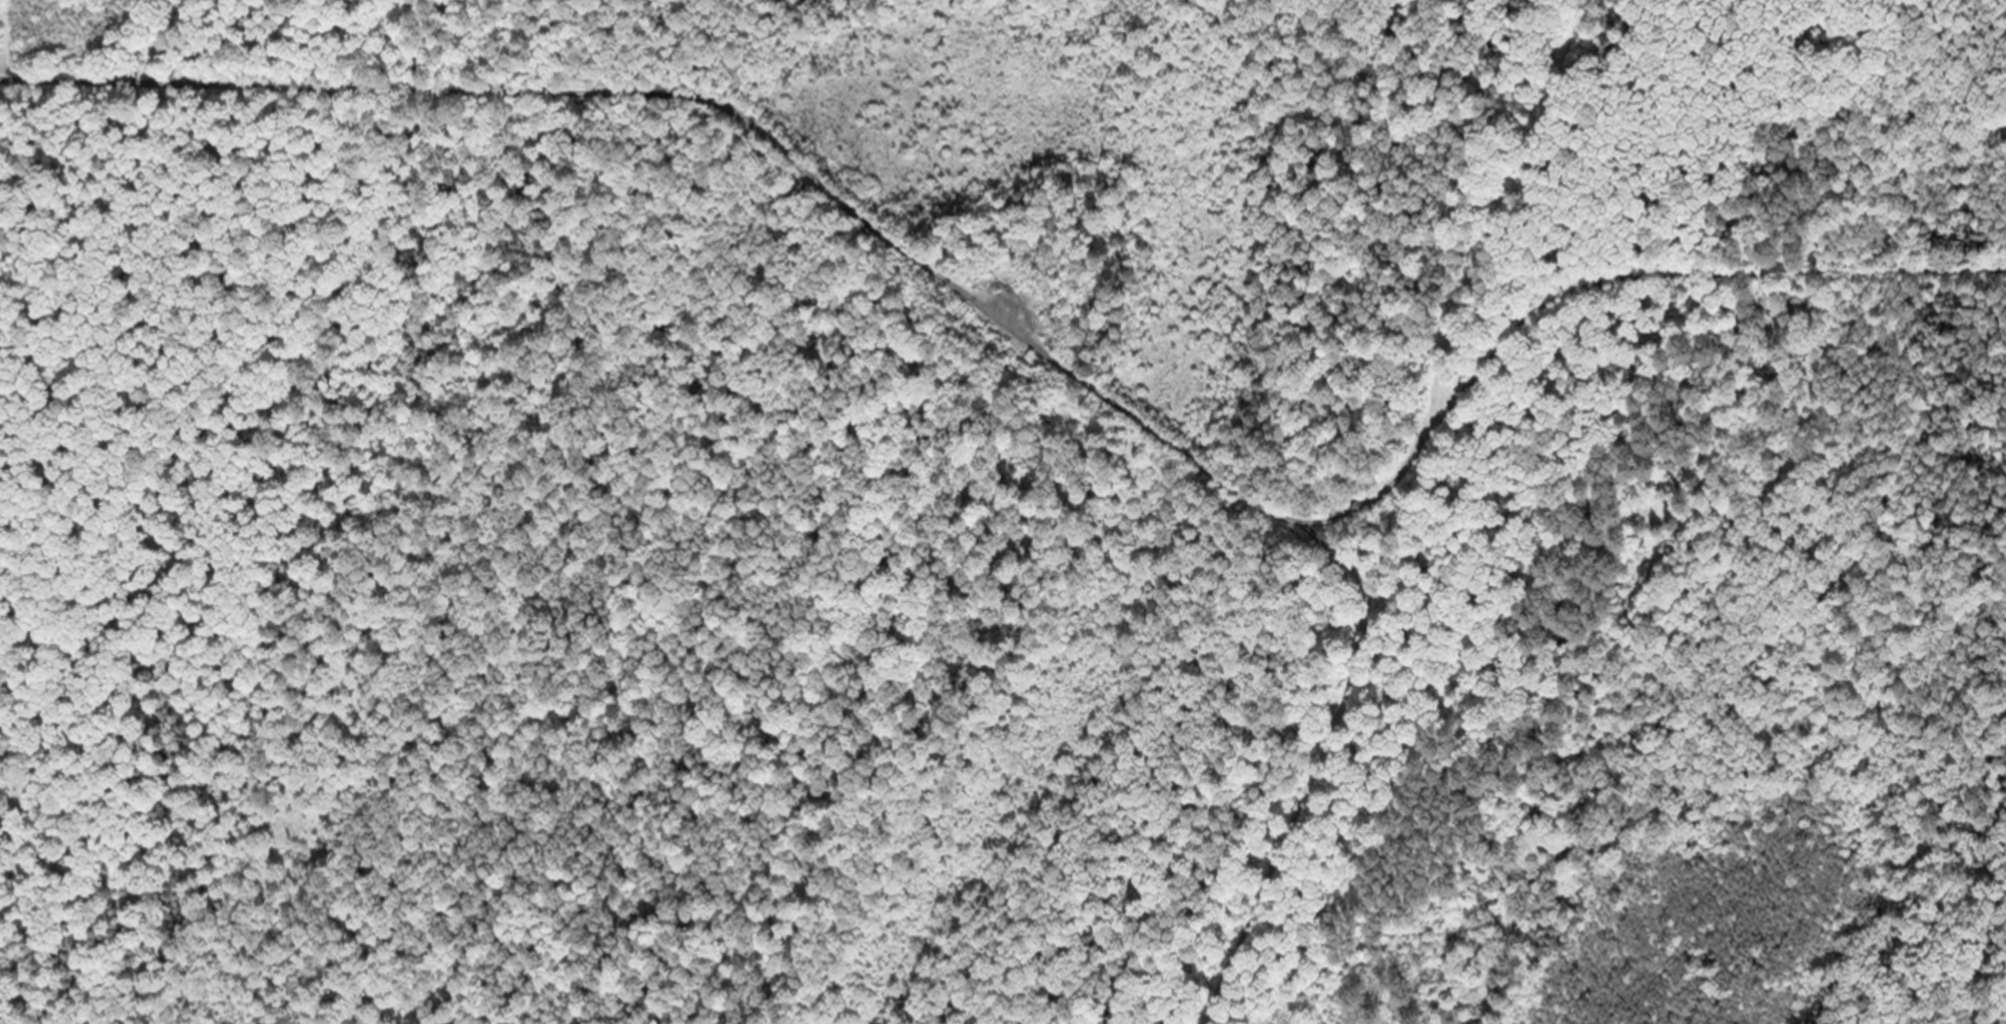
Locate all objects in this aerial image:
road: (1496, 212)
road: (1038, 355)

